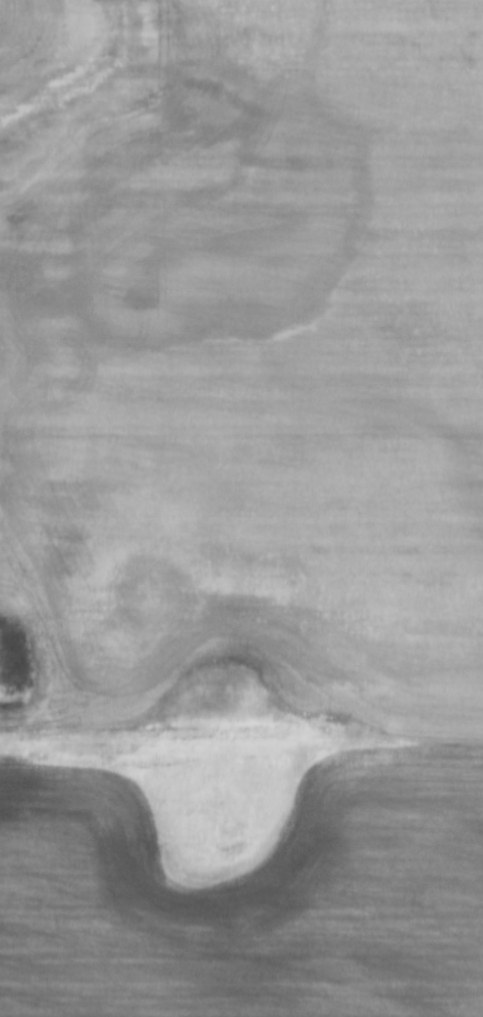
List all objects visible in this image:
road: (241, 743)

